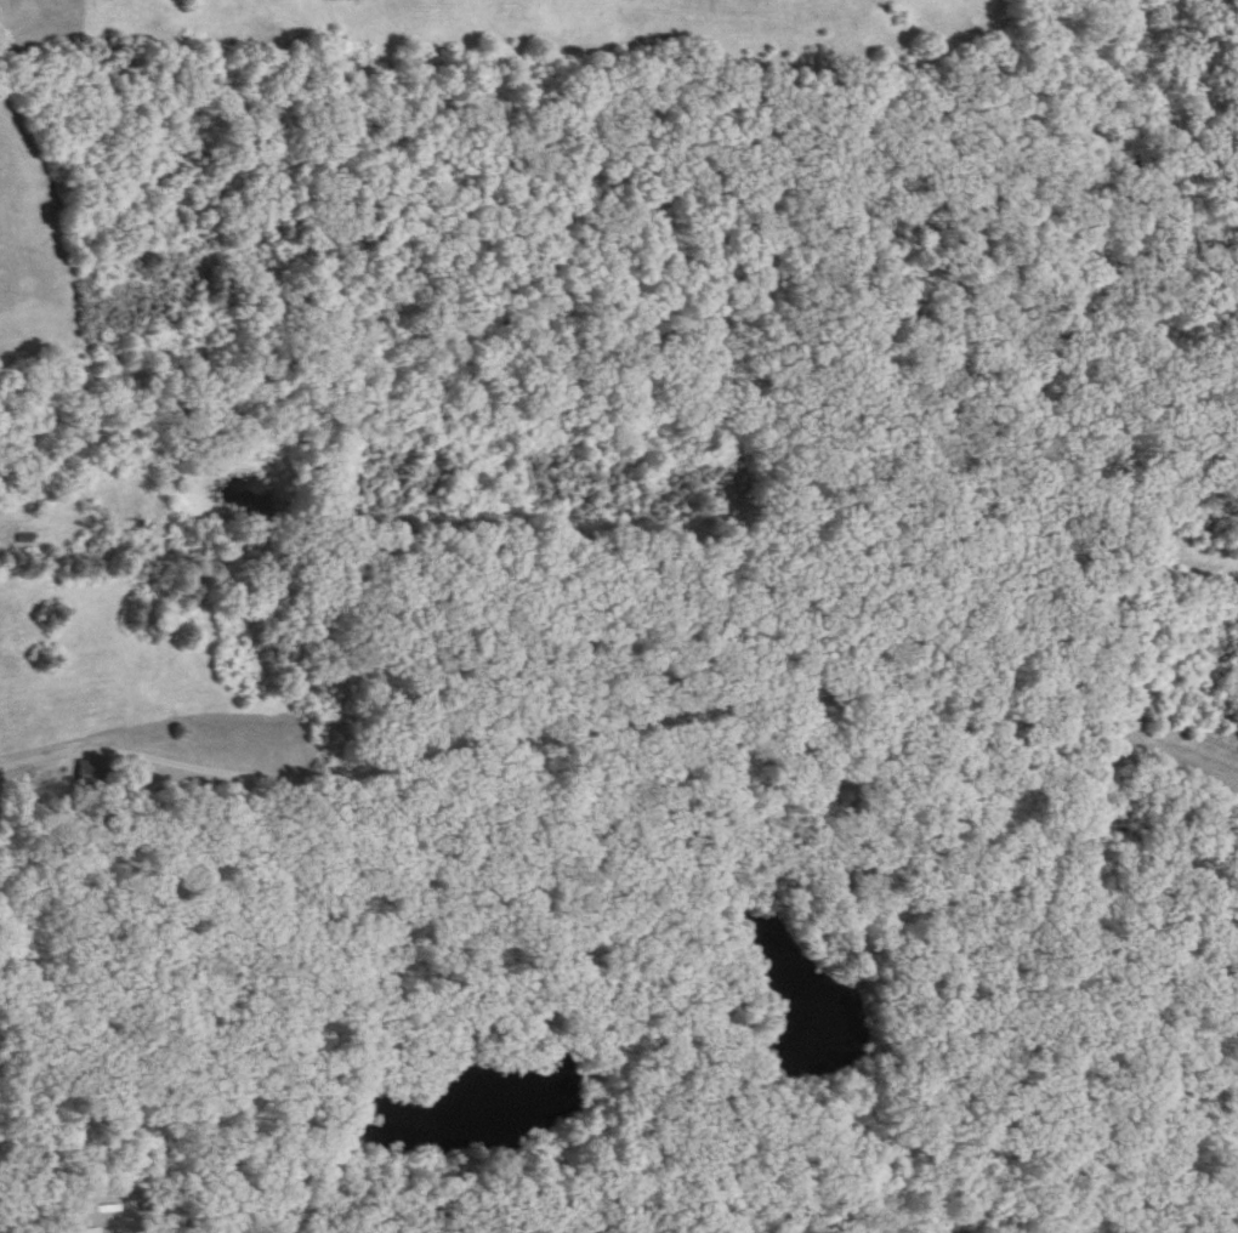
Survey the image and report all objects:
road: (135, 752)
building: (92, 773)
road: (135, 1221)
building: (104, 1229)

